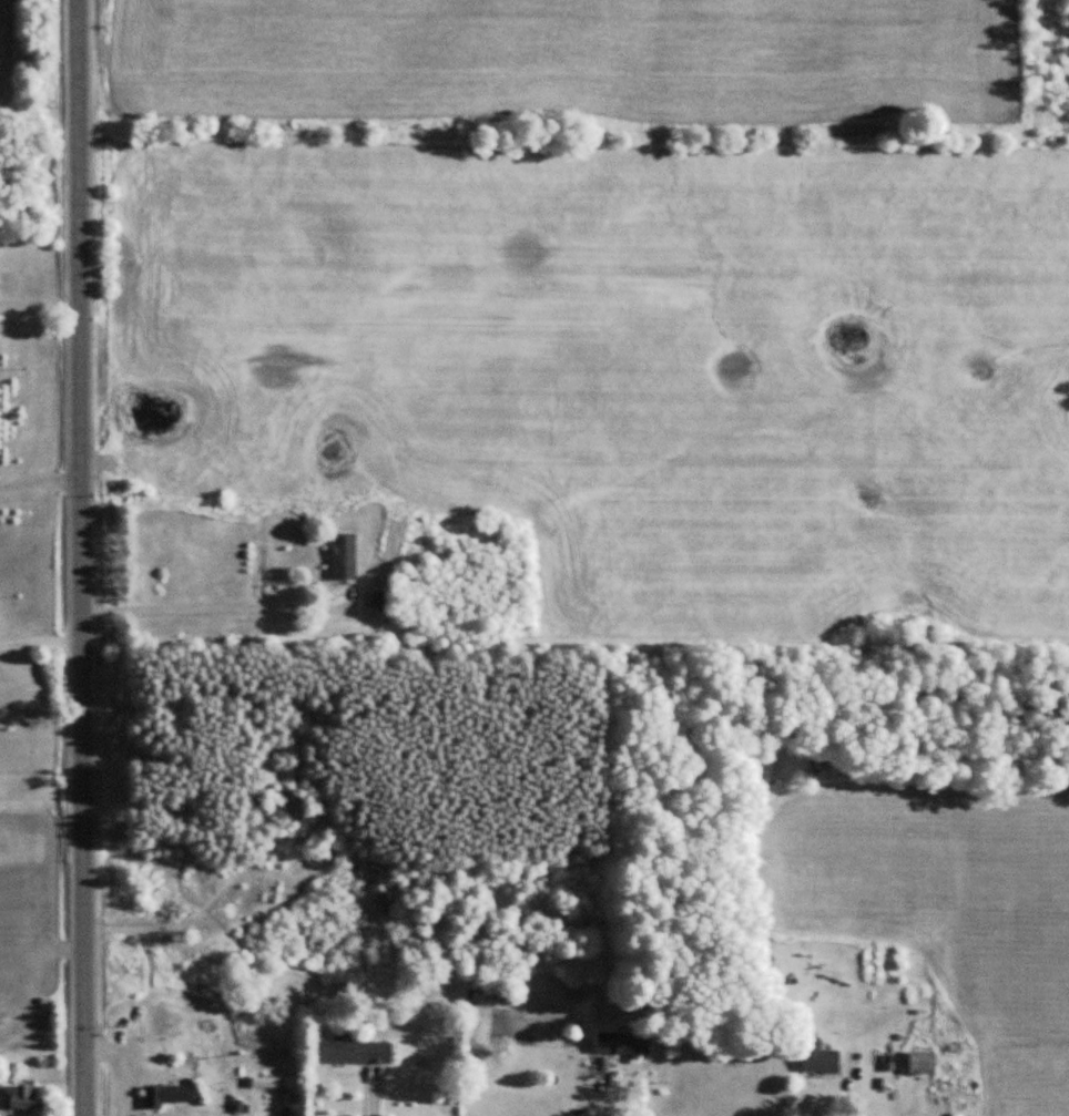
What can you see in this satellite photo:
building: (344, 555)
road: (81, 557)
building: (623, 1042)
building: (355, 1051)
building: (818, 1056)
building: (923, 1062)
building: (275, 1082)
building: (21, 1096)
building: (163, 1096)

